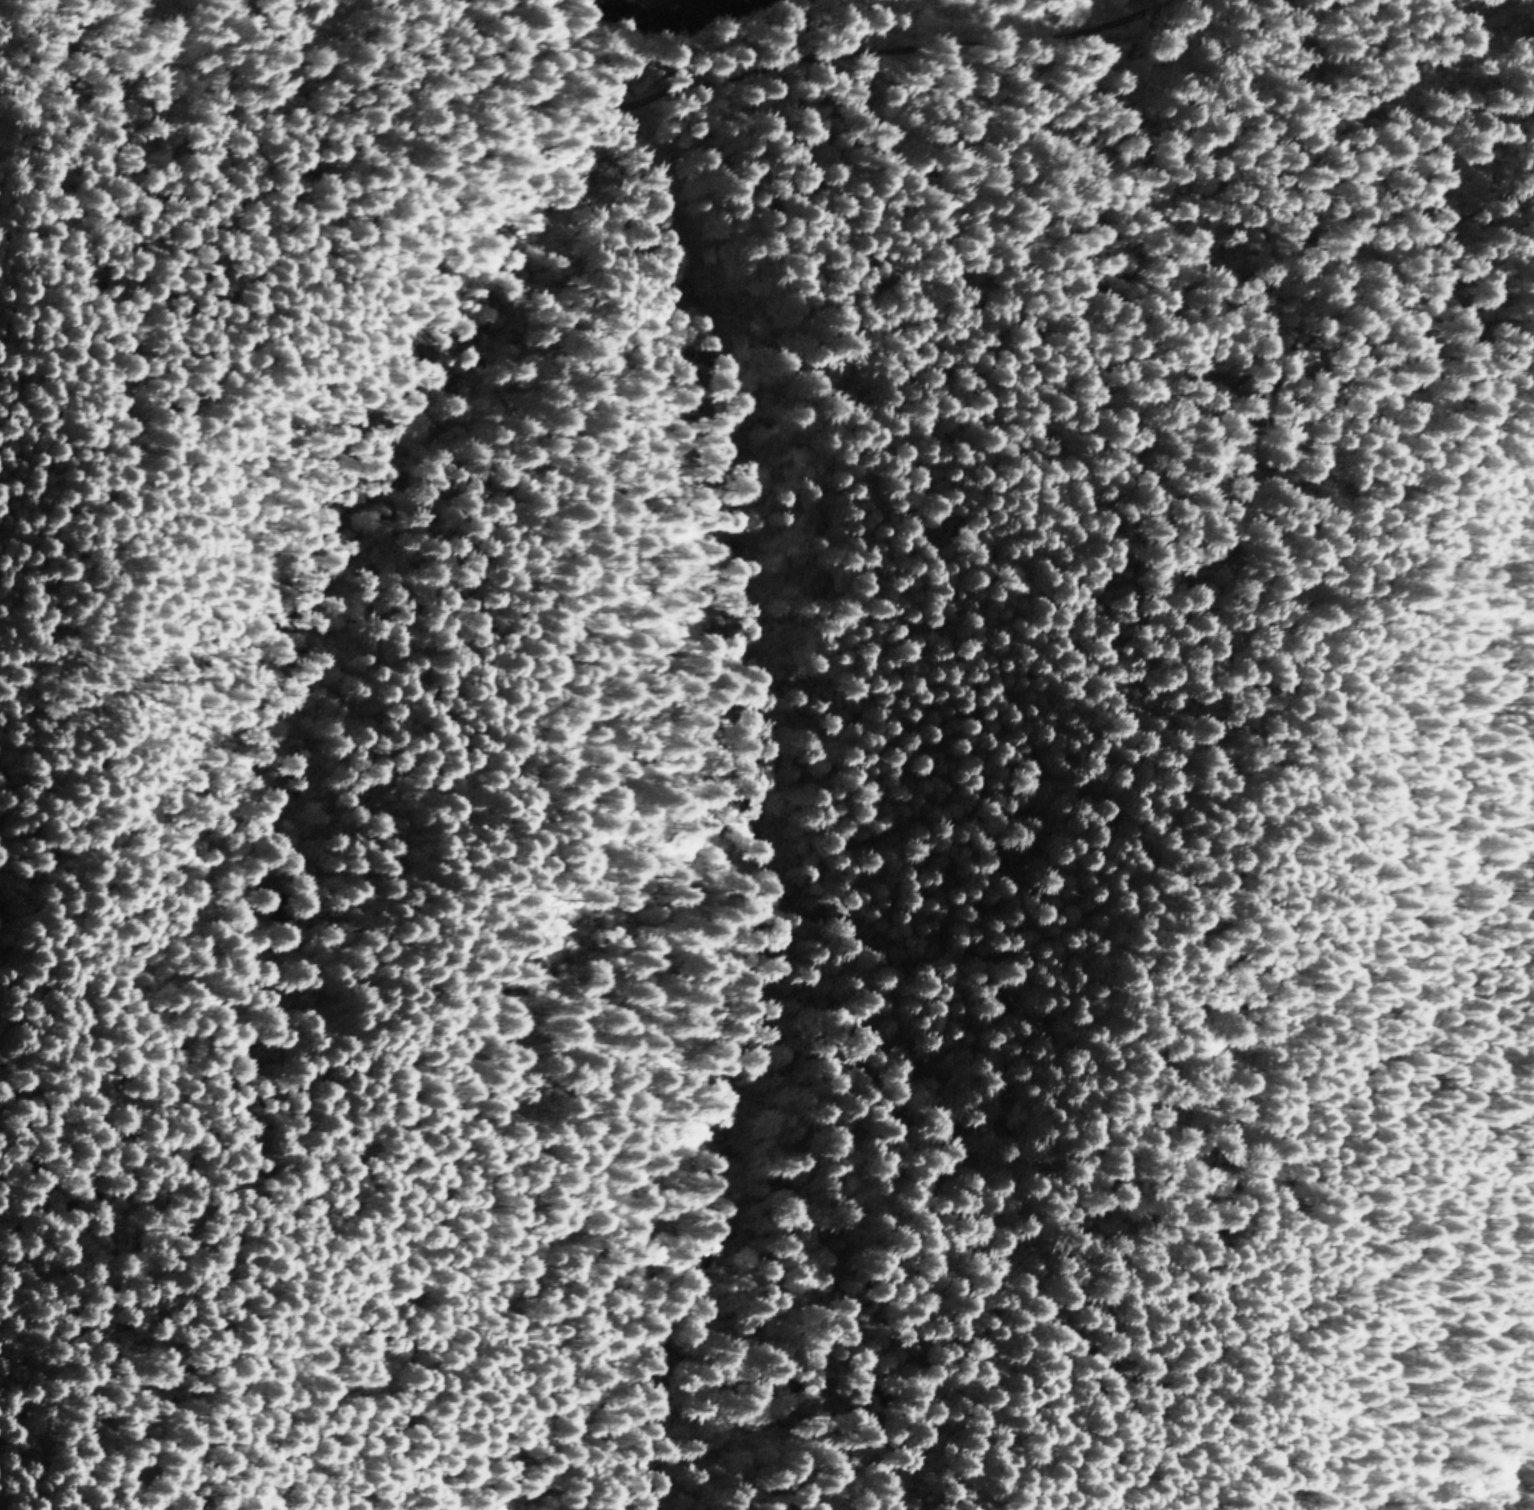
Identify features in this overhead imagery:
river: (674, 1)
road: (883, 102)
road: (4, 974)

